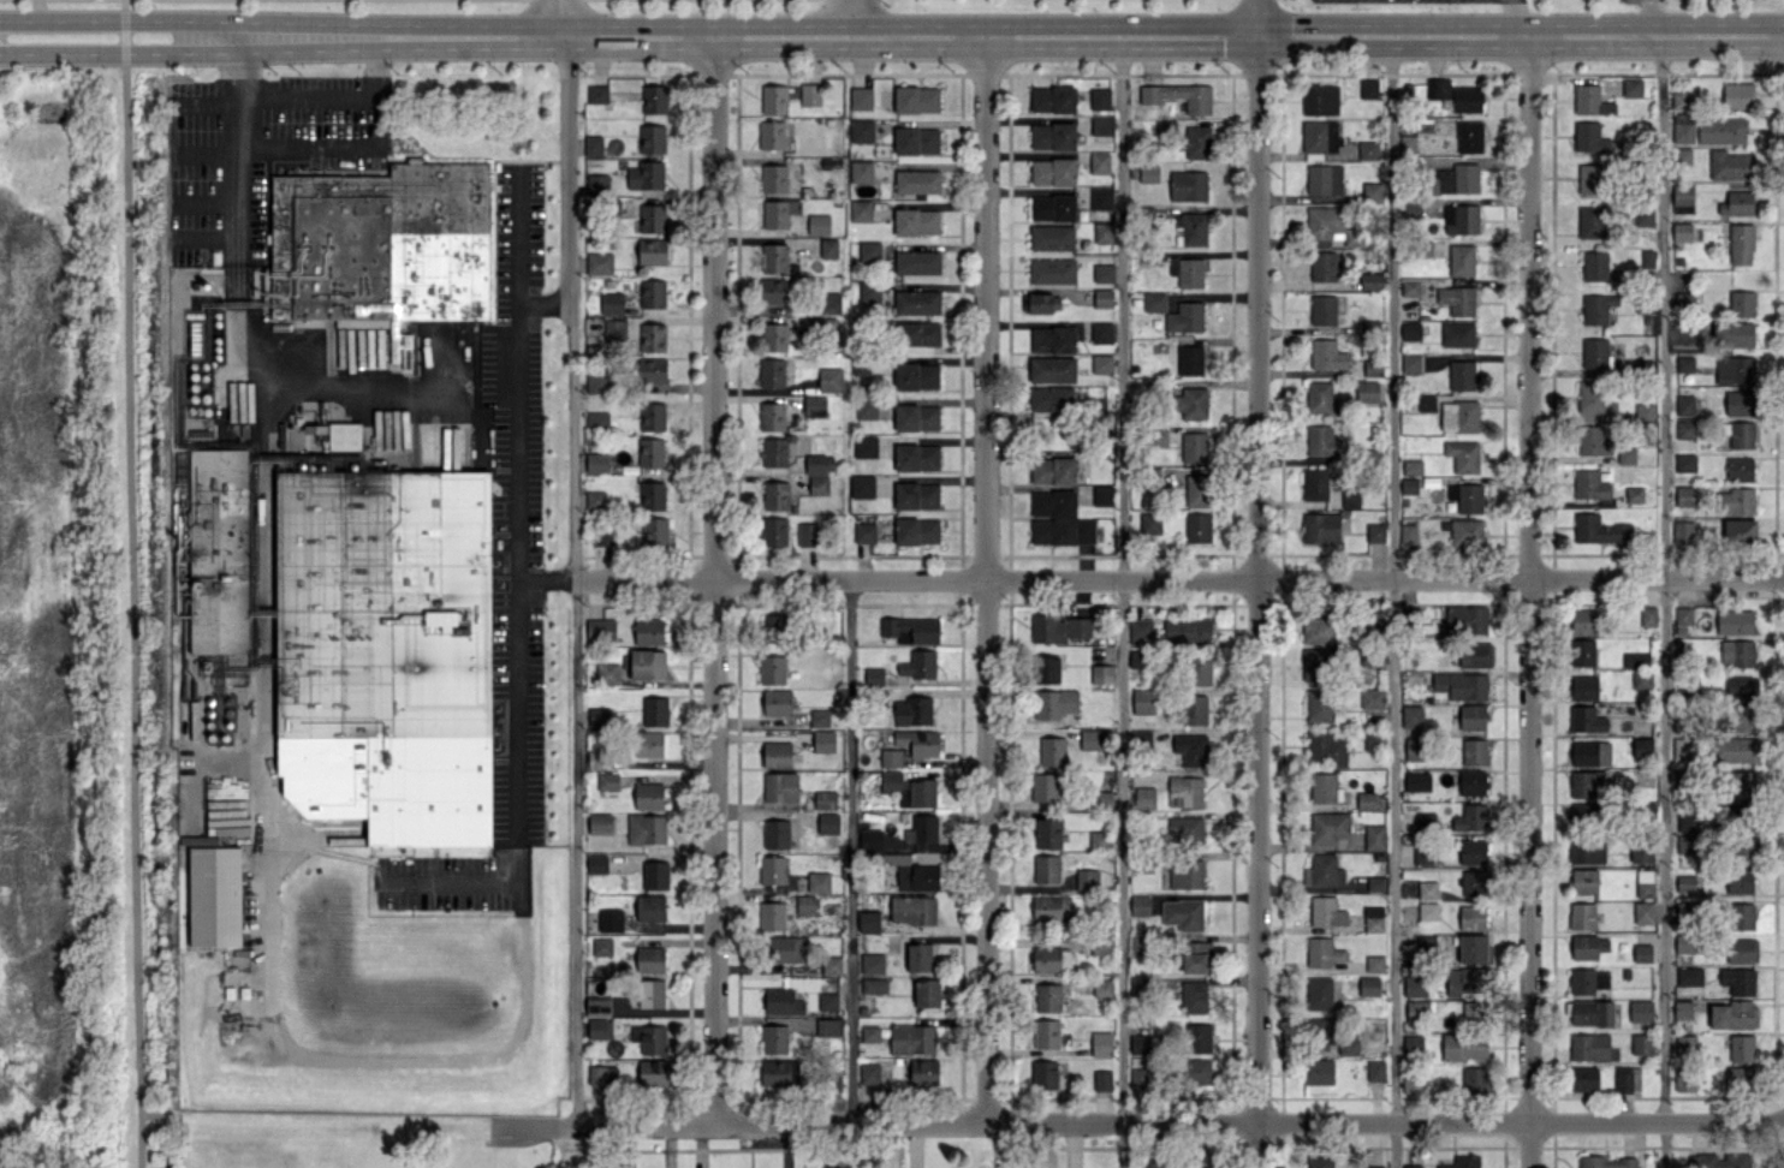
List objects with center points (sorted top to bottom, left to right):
road: (129, 17)
road: (565, 17)
road: (863, 18)
road: (1512, 19)
road: (1646, 19)
road: (64, 34)
road: (495, 35)
road: (1255, 37)
road: (1655, 38)
road: (1724, 38)
road: (129, 49)
building: (1631, 87)
building: (1368, 88)
building: (1438, 88)
road: (328, 93)
building: (597, 94)
building: (810, 94)
building: (1737, 95)
building: (1179, 96)
building: (861, 97)
building: (1099, 97)
building: (654, 99)
building: (774, 99)
building: (916, 99)
building: (1052, 99)
building: (1320, 99)
building: (1467, 99)
building: (1590, 100)
building: (1682, 101)
building: (1101, 125)
building: (1683, 127)
building: (862, 130)
building: (1721, 130)
building: (772, 133)
building: (1052, 136)
building: (1320, 136)
building: (1469, 136)
road: (236, 137)
building: (1590, 137)
building: (652, 138)
building: (916, 139)
building: (1196, 142)
building: (1408, 143)
building: (593, 145)
building: (1368, 149)
building: (1682, 155)
building: (1099, 162)
building: (1730, 165)
building: (861, 171)
building: (1053, 171)
building: (1148, 173)
building: (646, 174)
building: (774, 178)
building: (1590, 178)
building: (1324, 179)
building: (1455, 179)
building: (917, 181)
building: (597, 183)
building: (1188, 185)
building: (1372, 191)
building: (1682, 197)
building: (1101, 198)
building: (1736, 203)
building: (1052, 207)
building: (860, 210)
building: (778, 211)
building: (1643, 215)
building: (652, 217)
building: (1461, 219)
building: (916, 221)
building: (1590, 221)
building: (819, 224)
building: (1330, 227)
building: (1190, 228)
building: (1682, 231)
building: (1104, 232)
building: (1051, 237)
building: (1741, 243)
building: (828, 248)
building: (380, 249)
building: (869, 250)
building: (653, 251)
building: (773, 257)
building: (1647, 257)
building: (1461, 260)
building: (599, 262)
building: (916, 262)
building: (1322, 266)
building: (1594, 266)
building: (1052, 270)
building: (1187, 270)
building: (1104, 273)
building: (1370, 280)
building: (1413, 286)
building: (773, 290)
building: (652, 292)
building: (1102, 297)
building: (1457, 299)
building: (917, 302)
building: (1154, 302)
building: (612, 303)
building: (831, 303)
building: (1041, 303)
building: (1741, 303)
building: (1596, 308)
building: (1322, 309)
building: (1185, 317)
building: (1410, 330)
building: (1101, 332)
building: (918, 333)
building: (1457, 334)
building: (1737, 334)
building: (652, 336)
building: (774, 336)
building: (1052, 339)
building: (1594, 352)
building: (1327, 354)
building: (1189, 359)
building: (1410, 362)
building: (1101, 363)
building: (1684, 363)
building: (862, 367)
building: (1373, 367)
building: (652, 369)
building: (1052, 369)
building: (1735, 369)
building: (771, 373)
building: (1461, 374)
building: (916, 376)
building: (829, 379)
building: (599, 381)
building: (1367, 391)
building: (1319, 395)
building: (1589, 395)
building: (1051, 398)
building: (1191, 403)
building: (1423, 403)
building: (1740, 403)
building: (1684, 404)
building: (814, 405)
building: (866, 409)
building: (1643, 411)
building: (1459, 415)
building: (652, 416)
building: (771, 416)
building: (916, 417)
building: (597, 419)
building: (1685, 429)
building: (1740, 434)
building: (345, 435)
building: (1159, 437)
building: (1321, 441)
building: (1593, 441)
road: (517, 442)
building: (864, 446)
building: (1194, 446)
building: (778, 451)
building: (650, 452)
building: (1625, 454)
building: (1462, 455)
building: (916, 457)
building: (1685, 461)
building: (597, 463)
building: (819, 463)
building: (1411, 466)
building: (1740, 469)
building: (1053, 470)
building: (1315, 483)
building: (819, 484)
building: (1589, 484)
building: (862, 485)
building: (1199, 490)
building: (1634, 494)
building: (652, 495)
building: (775, 495)
building: (916, 495)
building: (1102, 495)
building: (1685, 495)
building: (1467, 496)
building: (1350, 497)
building: (596, 500)
building: (1736, 500)
building: (1052, 502)
building: (1150, 522)
building: (1197, 528)
building: (1320, 528)
building: (1598, 529)
building: (916, 530)
building: (1062, 530)
building: (1738, 530)
building: (655, 531)
building: (774, 531)
building: (1465, 531)
building: (1684, 531)
building: (864, 532)
building: (1375, 532)
building: (807, 534)
building: (1408, 534)
building: (607, 535)
road: (1181, 579)
road: (577, 580)
road: (1120, 580)
road: (719, 582)
road: (988, 582)
road: (1255, 584)
road: (1532, 602)
road: (1664, 602)
road: (1390, 603)
building: (1648, 615)
building: (1683, 615)
road: (129, 616)
building: (1465, 618)
building: (1583, 621)
building: (1735, 621)
building: (363, 626)
building: (775, 626)
building: (1058, 627)
building: (600, 628)
building: (910, 628)
building: (1187, 630)
building: (1318, 630)
building: (648, 631)
building: (1140, 631)
building: (1581, 651)
building: (1737, 652)
building: (1475, 654)
building: (1635, 659)
building: (648, 663)
building: (918, 663)
building: (1318, 663)
building: (1200, 668)
building: (772, 669)
building: (1045, 669)
building: (607, 672)
building: (1101, 673)
building: (874, 677)
building: (1641, 680)
building: (1462, 685)
building: (1583, 687)
building: (1741, 687)
building: (1373, 698)
building: (1142, 701)
building: (777, 702)
building: (1054, 703)
building: (1321, 705)
building: (1195, 709)
building: (655, 710)
building: (912, 710)
building: (599, 715)
building: (1411, 715)
building: (1471, 716)
building: (819, 717)
building: (1741, 717)
building: (1586, 719)
building: (1092, 739)
building: (823, 741)
building: (918, 741)
building: (1369, 741)
building: (648, 744)
building: (1641, 746)
building: (1326, 747)
building: (1414, 747)
building: (1683, 747)
building: (1190, 749)
building: (1742, 749)
building: (1052, 751)
building: (1474, 751)
building: (1590, 752)
building: (777, 753)
building: (891, 757)
building: (596, 758)
building: (607, 780)
building: (1417, 781)
building: (1473, 782)
building: (1586, 782)
building: (1740, 783)
building: (780, 786)
building: (1043, 786)
road: (517, 788)
building: (909, 788)
building: (1185, 791)
building: (649, 797)
building: (1143, 797)
building: (1104, 798)
building: (825, 799)
building: (1366, 799)
building: (1584, 812)
building: (1470, 817)
building: (828, 822)
building: (1685, 822)
building: (600, 823)
building: (1327, 827)
building: (646, 828)
building: (921, 829)
building: (1185, 830)
building: (775, 833)
building: (1047, 833)
building: (1374, 836)
building: (1098, 839)
building: (870, 840)
building: (1685, 844)
building: (1587, 848)
building: (1744, 850)
building: (1471, 851)
building: (1641, 851)
road: (850, 853)
building: (1423, 853)
building: (896, 858)
building: (596, 863)
building: (772, 869)
building: (1046, 869)
building: (1322, 870)
building: (1185, 872)
building: (654, 875)
building: (917, 877)
building: (1087, 880)
building: (819, 881)
building: (1584, 881)
building: (1738, 881)
building: (1375, 883)
building: (1474, 883)
building: (1645, 883)
building: (1685, 883)
building: (216, 895)
building: (805, 902)
building: (1140, 905)
building: (650, 907)
building: (1051, 907)
building: (912, 910)
building: (1326, 911)
building: (1427, 911)
building: (1643, 912)
building: (1183, 913)
building: (1581, 914)
building: (772, 916)
building: (1471, 916)
building: (1740, 916)
building: (1373, 918)
building: (611, 919)
building: (869, 922)
building: (1684, 943)
building: (1137, 944)
building: (602, 946)
building: (1588, 946)
building: (784, 948)
building: (1473, 948)
building: (1741, 949)
building: (1322, 952)
building: (1642, 953)
building: (1195, 955)
building: (918, 957)
building: (650, 959)
building: (1051, 959)
building: (872, 963)
building: (1374, 963)
building: (831, 965)
building: (1689, 976)
building: (1464, 981)
building: (1587, 981)
building: (1737, 981)
building: (1137, 984)
building: (874, 985)
building: (1369, 985)
building: (1414, 985)
building: (1102, 987)
building: (927, 991)
building: (650, 993)
building: (1319, 993)
building: (1194, 996)
building: (1047, 997)
building: (781, 1001)
building: (827, 1001)
building: (596, 1005)
building: (1416, 1009)
building: (1682, 1009)
building: (1474, 1011)
building: (1640, 1011)
building: (1592, 1013)
building: (1734, 1014)
building: (600, 1027)
building: (828, 1027)
building: (869, 1033)
building: (1046, 1033)
building: (1318, 1033)
building: (1199, 1037)
building: (649, 1038)
building: (774, 1038)
building: (912, 1038)
building: (1101, 1043)
building: (1413, 1043)
building: (1642, 1043)
building: (1140, 1044)
building: (1348, 1045)
building: (1464, 1045)
building: (1588, 1045)
building: (1741, 1047)
building: (1375, 1069)
building: (774, 1071)
building: (1199, 1071)
building: (1318, 1071)
building: (653, 1072)
building: (869, 1072)
building: (924, 1072)
building: (601, 1074)
building: (1043, 1074)
building: (1584, 1078)
building: (1627, 1078)
building: (1740, 1078)
building: (1102, 1079)
building: (1137, 1079)
building: (1474, 1080)
building: (1684, 1080)
building: (834, 1081)
building: (1410, 1084)
road: (1132, 1126)
park: (346, 1143)
building: (1150, 1161)
building: (1319, 1161)
building: (1720, 1161)
building: (1462, 1162)
building: (1605, 1162)
building: (1187, 1164)
building: (1411, 1166)
building: (1373, 1167)

